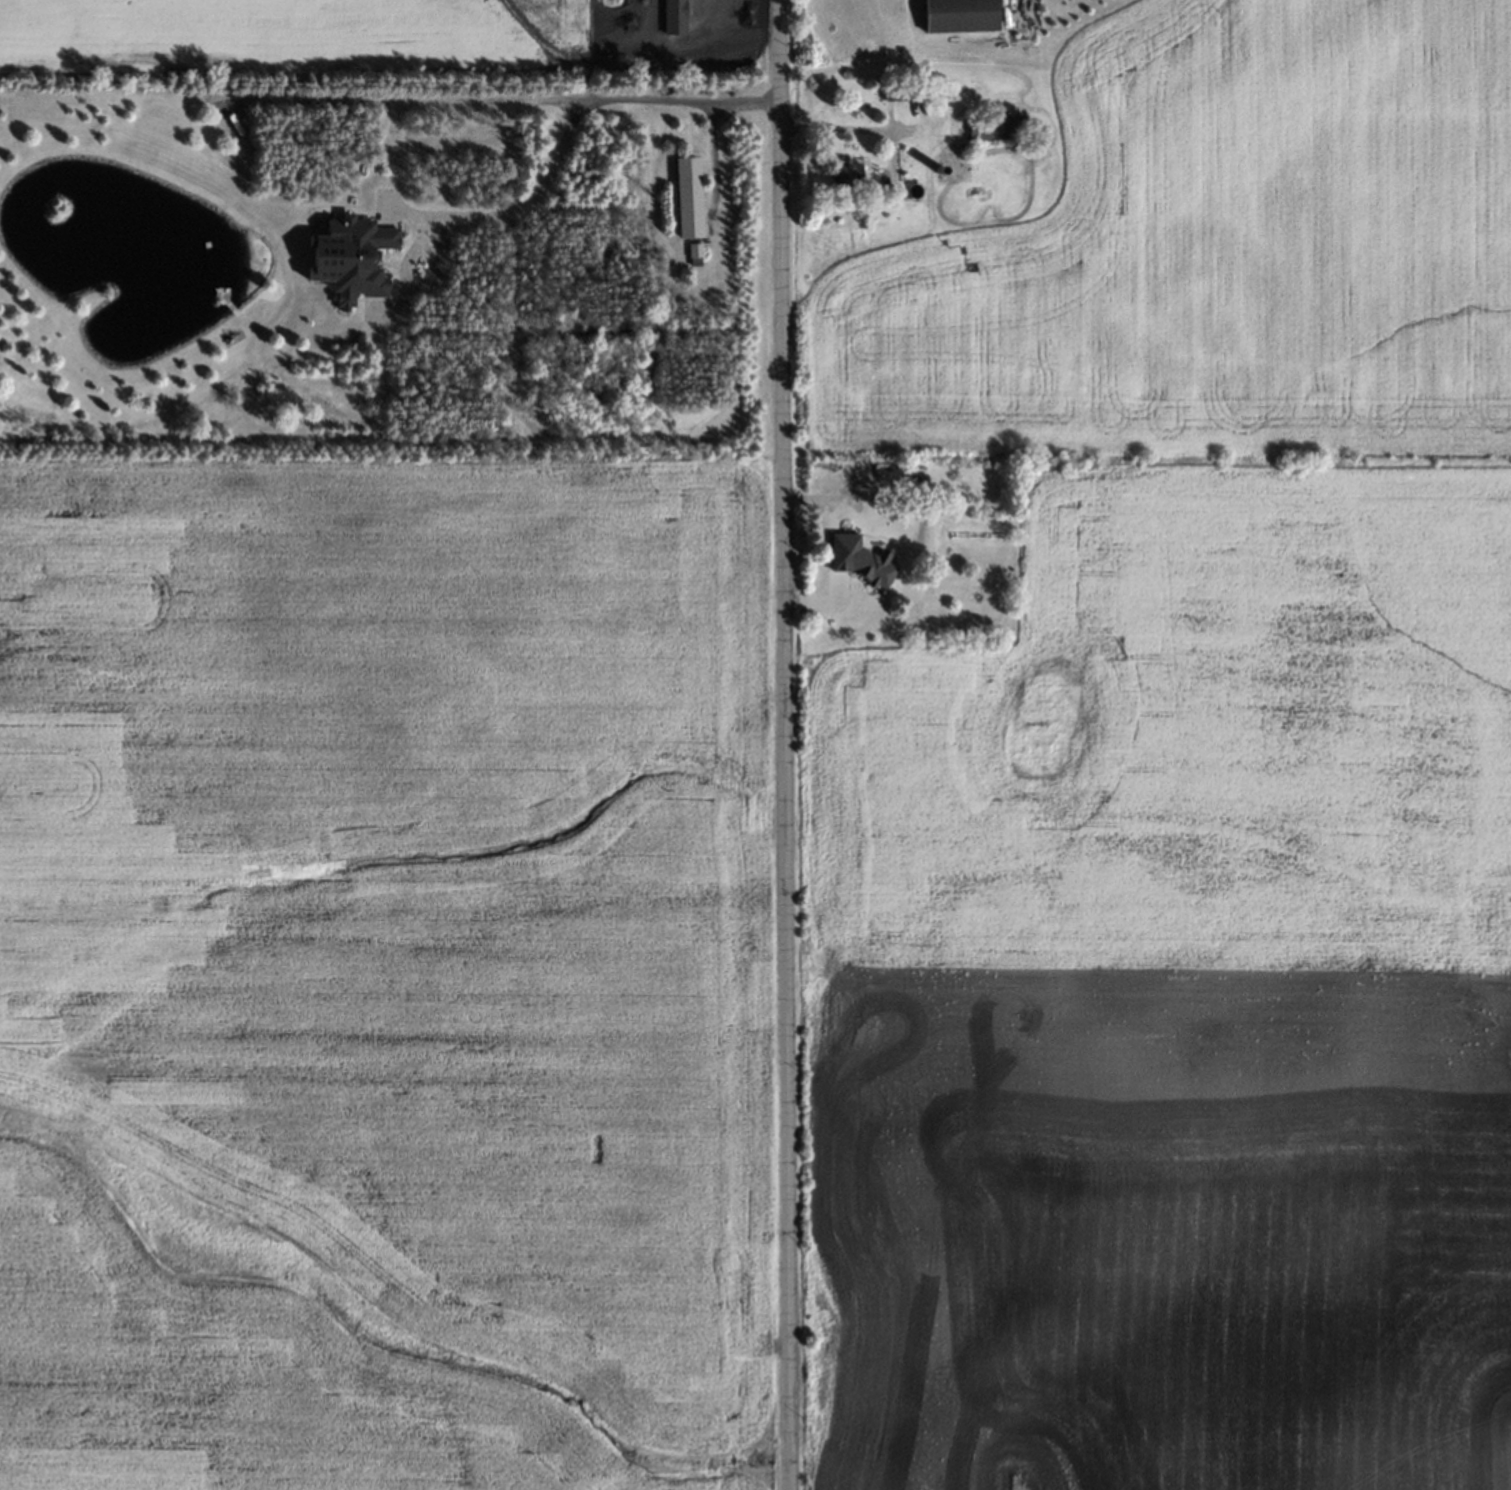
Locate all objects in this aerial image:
building: (954, 12)
building: (897, 90)
road: (498, 101)
road: (844, 127)
building: (993, 128)
road: (714, 155)
building: (938, 168)
building: (841, 171)
building: (881, 185)
building: (687, 194)
road: (469, 218)
building: (693, 248)
crop: (1213, 252)
building: (347, 255)
building: (848, 472)
building: (913, 476)
building: (832, 528)
building: (860, 559)
building: (972, 594)
crop: (1191, 732)
road: (781, 744)
crop: (1164, 1232)

